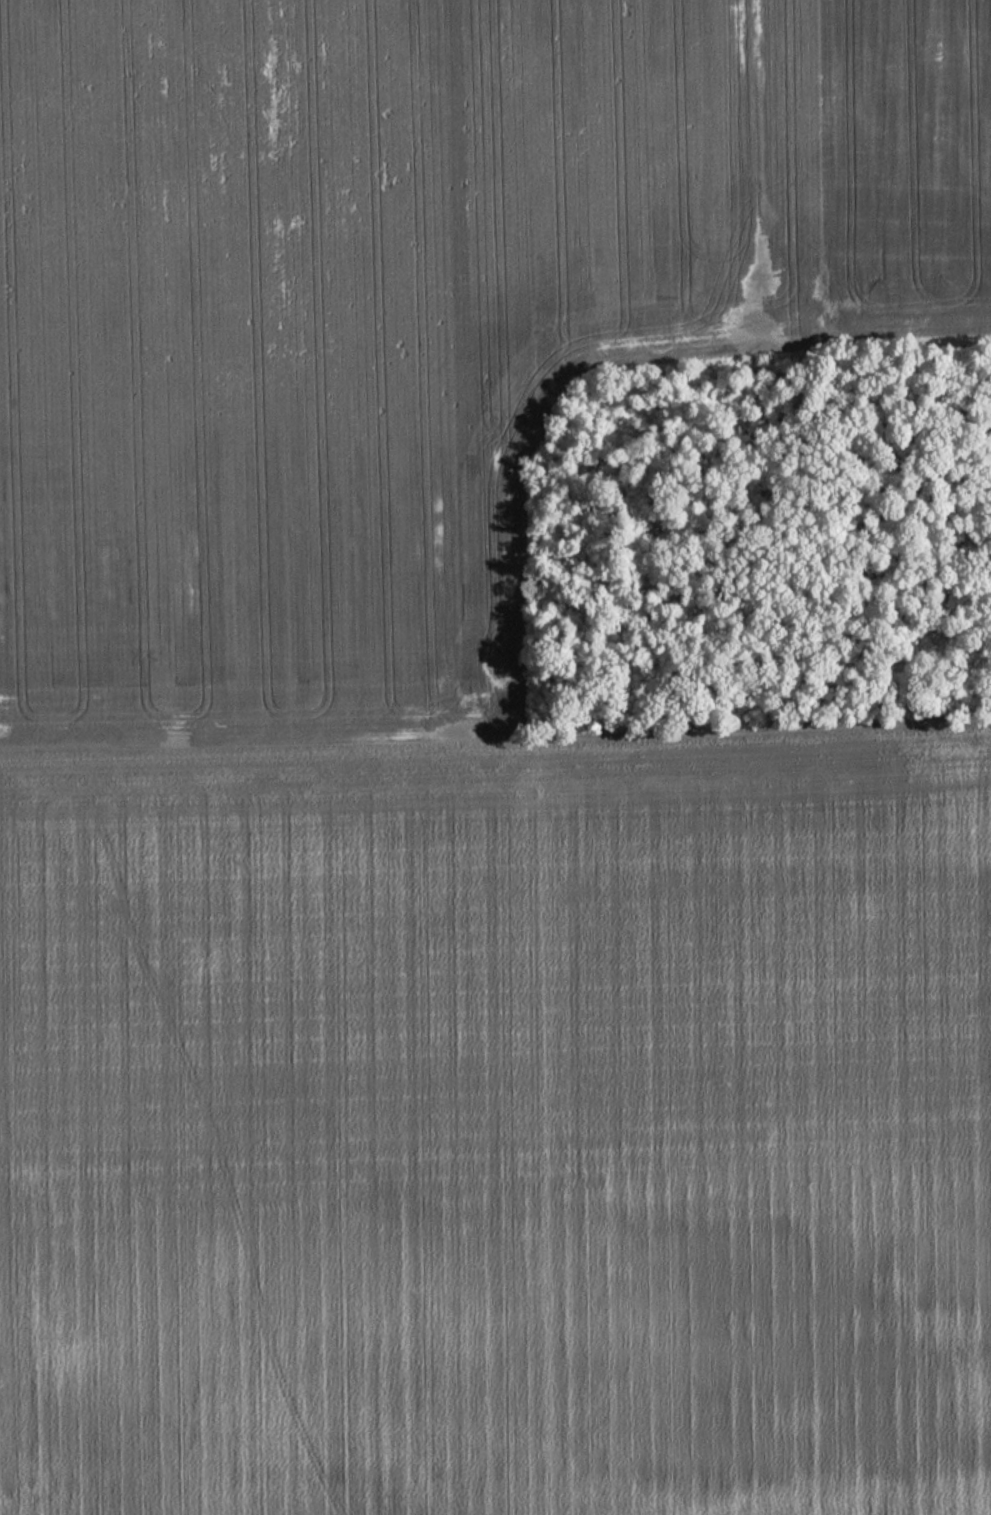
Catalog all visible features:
crop: (891, 170)
crop: (339, 336)
crop: (499, 1129)

